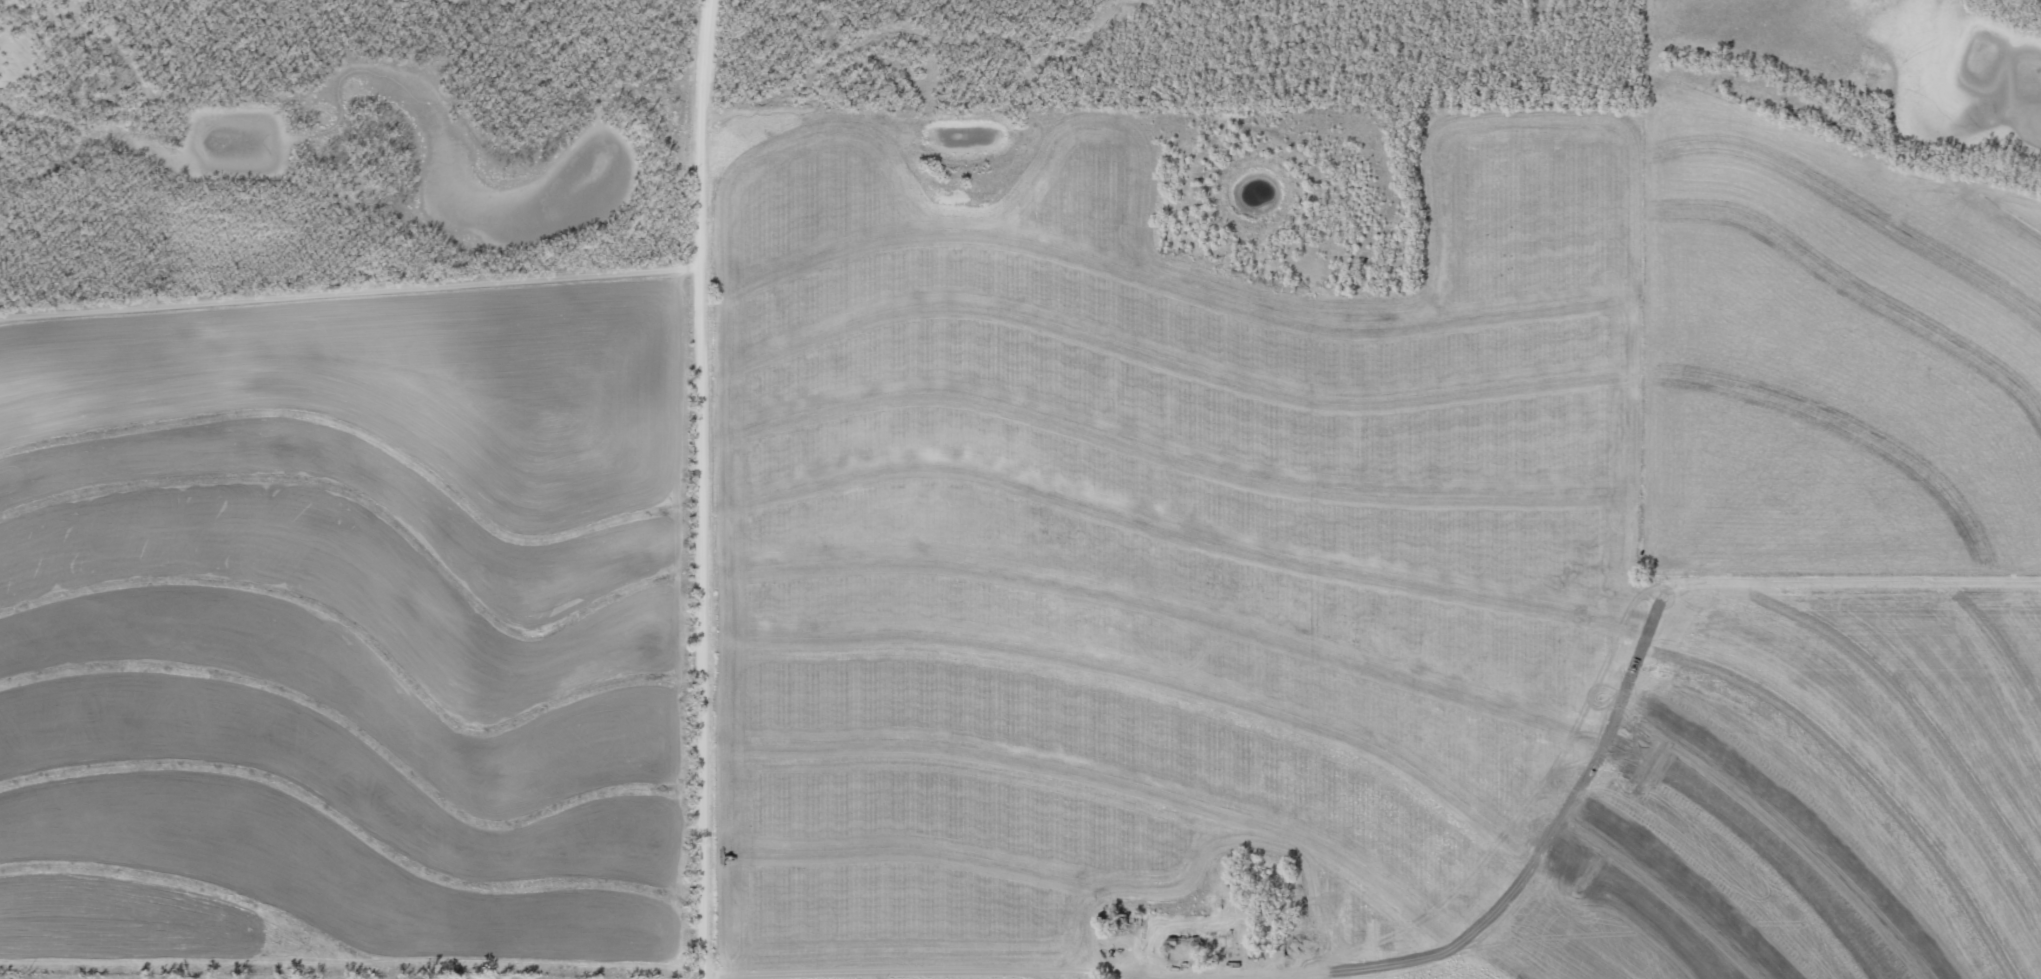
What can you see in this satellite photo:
road: (732, 489)

